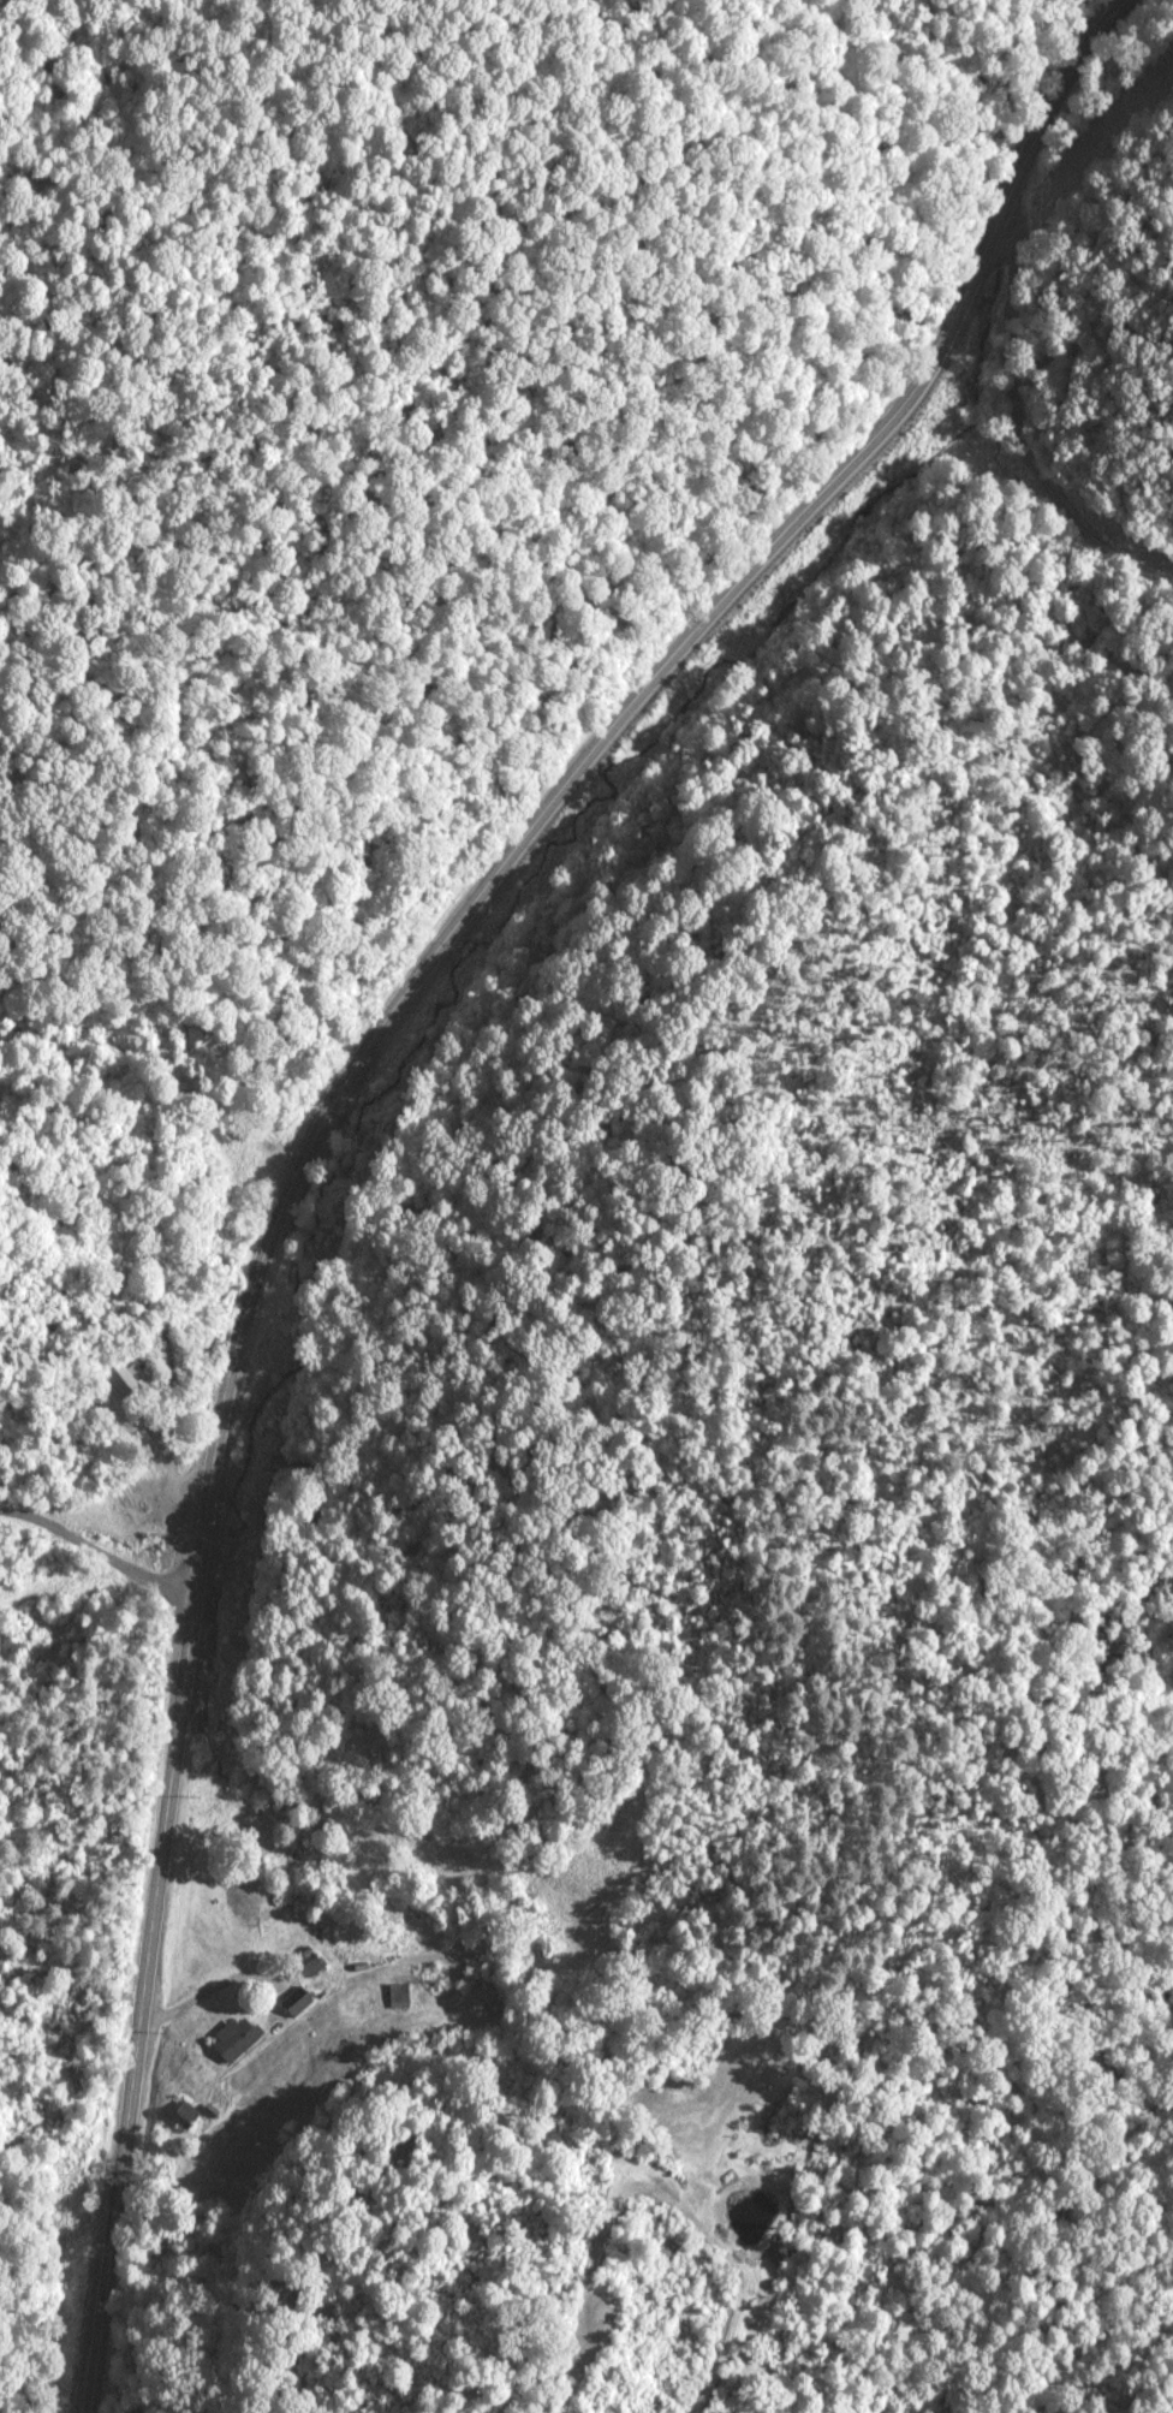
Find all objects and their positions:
road: (339, 1088)
building: (121, 1381)
road: (97, 1551)
building: (397, 1997)
building: (292, 2002)
building: (230, 2040)
building: (180, 2117)

